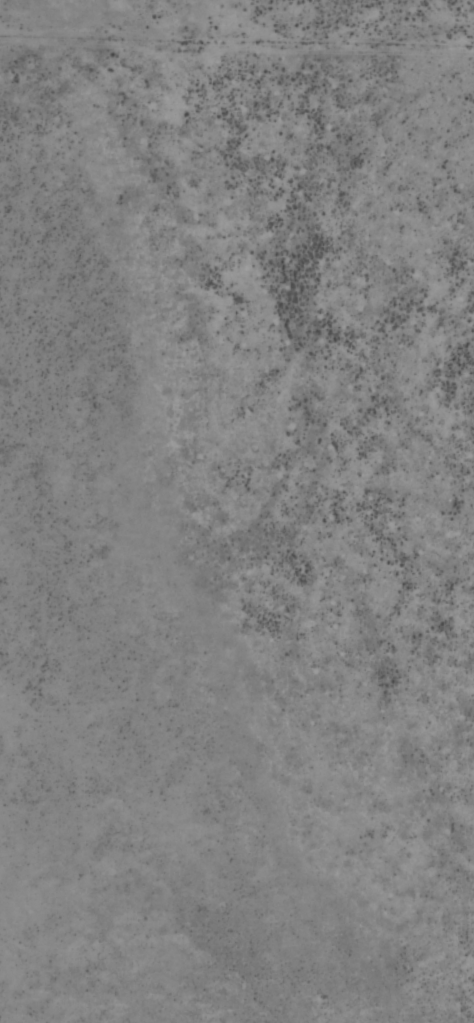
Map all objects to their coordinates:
road: (237, 103)

